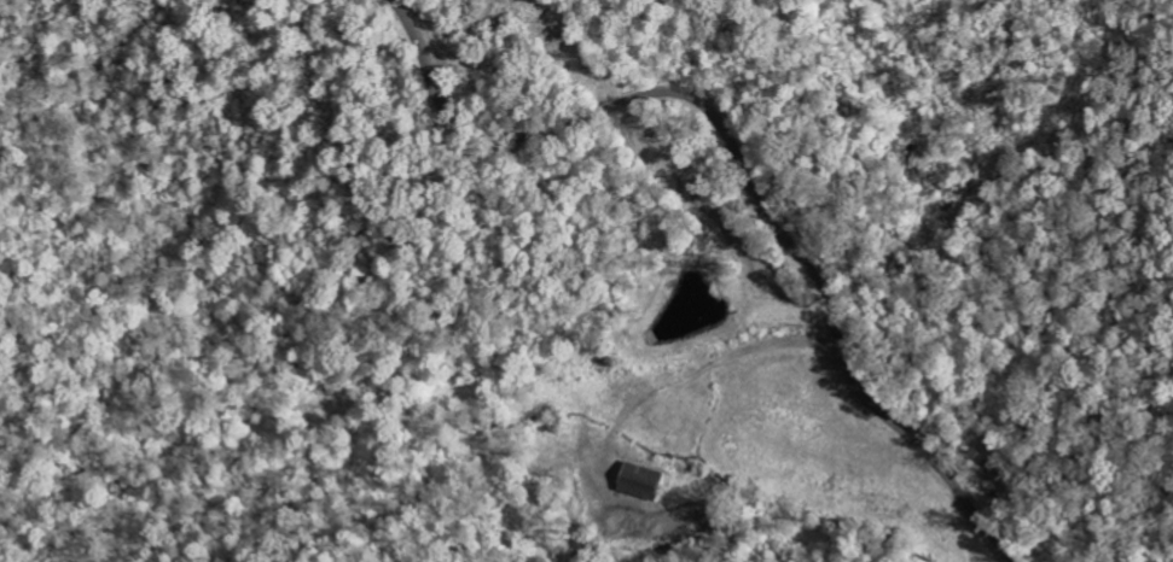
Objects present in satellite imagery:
road: (745, 172)
building: (640, 482)

